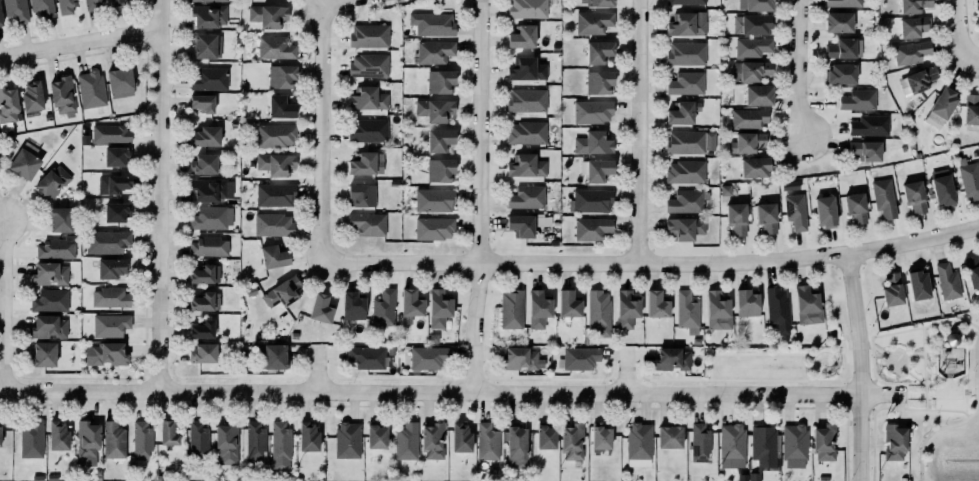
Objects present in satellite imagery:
building: (208, 0)
building: (115, 2)
building: (597, 2)
building: (686, 2)
building: (978, 2)
road: (346, 3)
building: (843, 3)
building: (89, 4)
building: (753, 4)
building: (914, 5)
building: (41, 6)
building: (66, 6)
building: (527, 9)
building: (16, 10)
building: (266, 14)
building: (209, 16)
building: (0, 19)
building: (591, 21)
building: (836, 21)
building: (432, 23)
building: (685, 23)
building: (752, 24)
building: (913, 26)
road: (963, 31)
building: (366, 34)
building: (520, 35)
road: (81, 44)
building: (201, 44)
building: (753, 47)
building: (275, 48)
building: (845, 48)
building: (596, 51)
building: (909, 51)
building: (433, 52)
building: (686, 53)
road: (977, 60)
building: (366, 64)
building: (524, 68)
building: (748, 69)
road: (798, 69)
building: (842, 73)
building: (279, 74)
building: (210, 79)
building: (917, 80)
building: (597, 81)
building: (120, 82)
building: (440, 82)
building: (684, 82)
building: (88, 88)
building: (60, 94)
building: (756, 94)
building: (29, 95)
building: (368, 99)
building: (525, 99)
building: (855, 99)
building: (200, 101)
building: (941, 101)
building: (7, 104)
building: (281, 107)
building: (433, 108)
building: (971, 109)
building: (593, 111)
building: (680, 111)
building: (749, 118)
building: (867, 125)
building: (367, 130)
building: (525, 131)
road: (638, 131)
building: (111, 133)
road: (327, 133)
building: (203, 135)
building: (276, 135)
building: (437, 138)
building: (691, 141)
building: (744, 141)
building: (591, 142)
building: (863, 149)
building: (118, 156)
building: (365, 159)
building: (22, 162)
building: (201, 163)
building: (276, 163)
building: (524, 164)
building: (1, 165)
building: (753, 165)
building: (438, 169)
building: (596, 170)
building: (686, 171)
building: (968, 179)
building: (52, 182)
building: (111, 182)
building: (788, 185)
building: (942, 188)
building: (212, 189)
building: (727, 190)
building: (359, 193)
building: (272, 194)
road: (161, 195)
road: (480, 196)
building: (524, 196)
building: (914, 196)
building: (434, 199)
building: (591, 200)
building: (884, 200)
building: (686, 201)
building: (853, 206)
building: (794, 211)
building: (825, 211)
building: (117, 212)
building: (766, 217)
building: (59, 218)
building: (212, 218)
building: (736, 218)
building: (365, 222)
building: (271, 224)
building: (521, 225)
building: (431, 227)
building: (683, 227)
building: (592, 228)
building: (107, 241)
building: (209, 247)
building: (56, 249)
building: (271, 255)
road: (654, 263)
building: (109, 266)
building: (971, 269)
building: (47, 273)
building: (202, 274)
building: (945, 280)
building: (919, 285)
building: (890, 288)
building: (279, 291)
building: (108, 296)
building: (48, 299)
building: (200, 301)
building: (744, 302)
building: (567, 303)
building: (654, 303)
building: (805, 304)
road: (5, 305)
building: (351, 305)
building: (410, 305)
building: (775, 306)
building: (381, 307)
building: (436, 307)
building: (318, 308)
building: (509, 308)
building: (536, 308)
building: (624, 308)
building: (715, 310)
building: (596, 311)
building: (685, 311)
road: (951, 321)
building: (108, 324)
building: (49, 327)
building: (200, 328)
road: (893, 333)
road: (842, 340)
road: (924, 340)
building: (954, 340)
storage tank: (954, 340)
park: (790, 350)
road: (895, 350)
building: (201, 351)
road: (879, 351)
road: (831, 352)
road: (833, 352)
building: (41, 353)
road: (760, 353)
road: (915, 353)
building: (105, 354)
building: (269, 355)
building: (367, 356)
building: (427, 357)
building: (577, 357)
building: (670, 358)
road: (818, 358)
building: (522, 359)
road: (845, 360)
road: (908, 361)
building: (284, 362)
road: (873, 363)
road: (709, 366)
road: (861, 366)
road: (925, 368)
road: (833, 369)
road: (318, 371)
road: (818, 371)
road: (627, 372)
road: (916, 377)
road: (976, 377)
road: (639, 378)
road: (845, 378)
road: (674, 379)
road: (760, 379)
road: (828, 379)
road: (861, 381)
road: (875, 381)
road: (900, 384)
road: (453, 392)
park: (935, 392)
road: (926, 397)
road: (916, 409)
road: (948, 410)
building: (166, 432)
building: (58, 436)
building: (305, 436)
building: (374, 436)
building: (544, 436)
building: (599, 436)
road: (928, 436)
building: (458, 437)
building: (669, 437)
building: (139, 438)
building: (31, 439)
building: (198, 439)
building: (346, 439)
building: (430, 439)
building: (114, 440)
building: (253, 440)
building: (485, 440)
building: (570, 440)
building: (85, 441)
building: (404, 441)
building: (698, 441)
building: (822, 441)
building: (891, 441)
building: (227, 443)
building: (730, 443)
building: (278, 444)
building: (639, 444)
building: (763, 444)
building: (516, 445)
building: (795, 446)
building: (753, 477)

